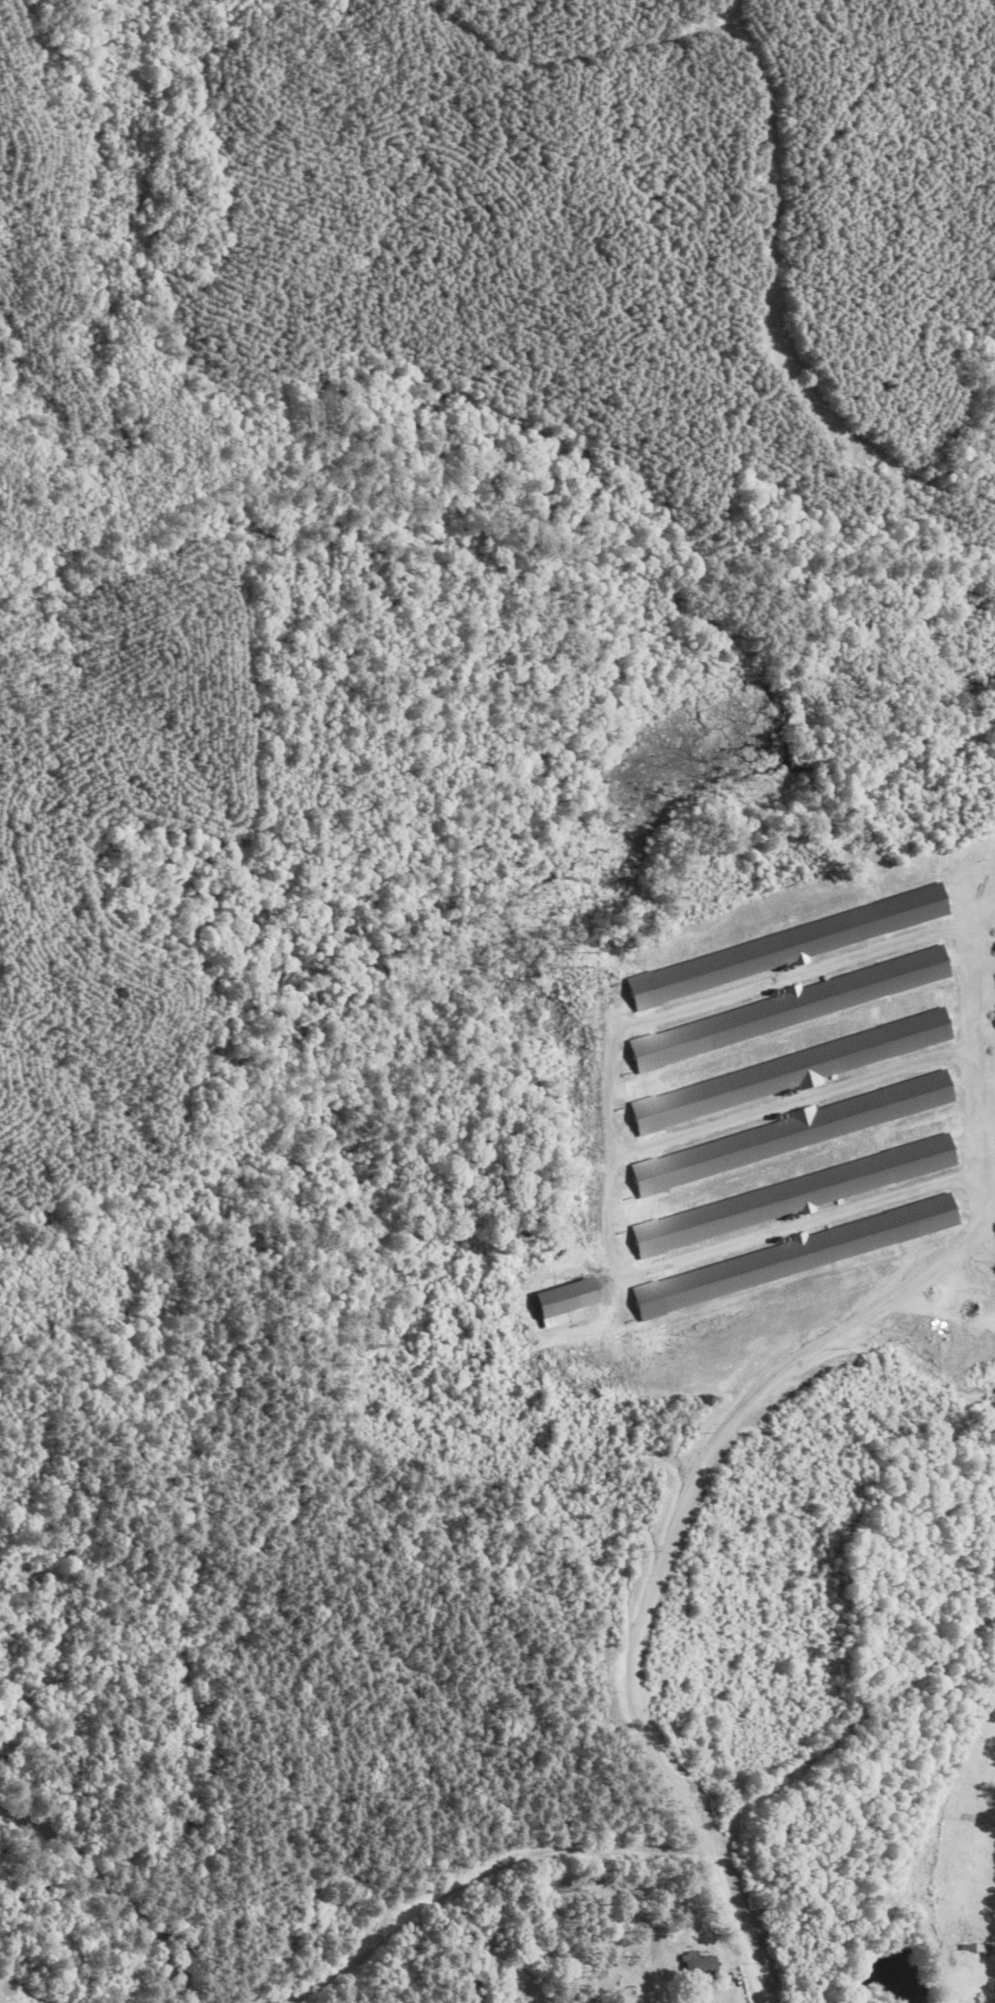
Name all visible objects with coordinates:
road: (735, 1363)
road: (376, 1843)
building: (700, 1966)

